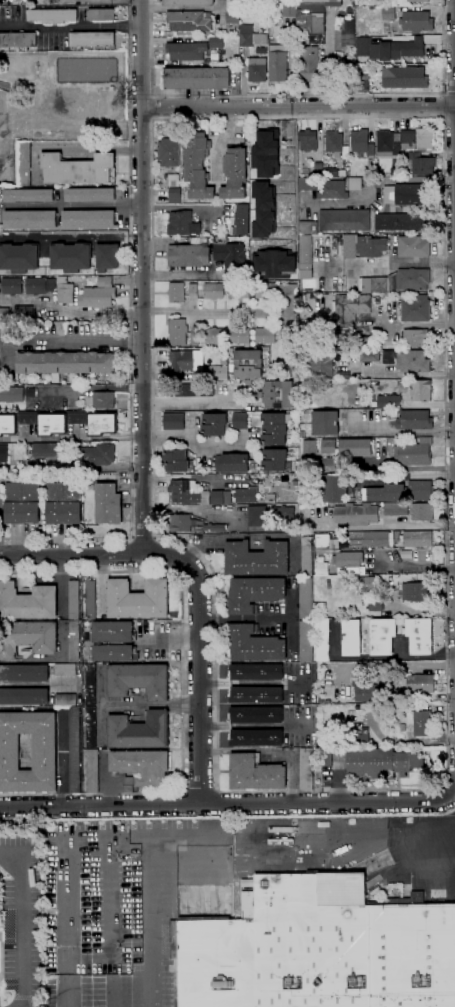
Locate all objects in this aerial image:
road: (106, 0)
building: (418, 1)
road: (454, 1)
building: (383, 2)
building: (189, 3)
road: (185, 8)
building: (285, 9)
building: (101, 14)
building: (389, 14)
building: (54, 15)
building: (233, 15)
building: (313, 18)
building: (189, 21)
building: (417, 21)
road: (70, 26)
road: (454, 29)
building: (251, 36)
building: (18, 40)
building: (94, 40)
building: (216, 42)
building: (364, 46)
building: (405, 49)
building: (187, 51)
road: (141, 54)
building: (278, 63)
building: (309, 64)
building: (258, 69)
building: (405, 77)
building: (197, 78)
building: (347, 82)
building: (362, 83)
road: (448, 94)
road: (295, 95)
road: (139, 97)
road: (442, 105)
road: (298, 106)
road: (151, 107)
road: (449, 116)
road: (139, 122)
road: (454, 122)
road: (70, 125)
building: (247, 139)
building: (408, 139)
building: (424, 139)
building: (308, 140)
building: (361, 142)
building: (387, 142)
building: (334, 143)
road: (71, 148)
building: (169, 152)
building: (266, 152)
building: (404, 158)
building: (24, 163)
building: (421, 164)
building: (198, 165)
building: (319, 166)
building: (78, 170)
building: (235, 173)
building: (343, 173)
building: (174, 180)
road: (374, 182)
building: (358, 183)
building: (307, 184)
building: (330, 190)
building: (405, 194)
building: (29, 195)
building: (91, 195)
building: (175, 195)
road: (73, 205)
building: (89, 219)
building: (243, 219)
building: (31, 220)
building: (344, 220)
building: (400, 221)
building: (183, 223)
building: (304, 227)
road: (70, 238)
building: (348, 245)
building: (370, 246)
building: (413, 246)
building: (305, 250)
building: (209, 255)
building: (18, 257)
building: (69, 257)
building: (107, 257)
building: (273, 263)
building: (402, 281)
building: (36, 285)
building: (12, 286)
building: (193, 290)
building: (213, 291)
building: (252, 291)
building: (288, 291)
building: (0, 292)
building: (176, 292)
building: (65, 294)
building: (98, 295)
building: (376, 302)
building: (351, 307)
building: (416, 309)
building: (25, 313)
road: (214, 313)
building: (4, 314)
road: (68, 316)
road: (142, 330)
building: (178, 330)
building: (306, 332)
road: (129, 333)
building: (288, 334)
building: (215, 336)
building: (252, 336)
building: (195, 337)
building: (414, 339)
road: (60, 343)
building: (369, 356)
building: (183, 360)
building: (408, 361)
building: (70, 363)
building: (321, 364)
building: (248, 365)
building: (217, 372)
road: (405, 376)
building: (191, 387)
road: (90, 388)
building: (421, 390)
building: (31, 391)
building: (12, 394)
building: (278, 394)
road: (401, 394)
building: (99, 399)
building: (388, 402)
road: (198, 404)
building: (238, 420)
building: (414, 420)
building: (172, 421)
building: (326, 422)
building: (60, 423)
building: (214, 423)
road: (70, 436)
building: (275, 441)
road: (194, 443)
building: (310, 447)
building: (328, 447)
building: (355, 447)
building: (44, 448)
building: (100, 451)
building: (413, 452)
building: (4, 453)
building: (291, 453)
building: (176, 459)
building: (233, 462)
building: (309, 464)
building: (290, 465)
road: (77, 470)
building: (335, 486)
building: (420, 486)
building: (310, 492)
building: (385, 493)
building: (195, 494)
building: (246, 495)
building: (261, 501)
building: (22, 502)
building: (110, 502)
building: (64, 503)
building: (395, 509)
building: (422, 512)
building: (285, 513)
building: (357, 514)
building: (259, 515)
building: (182, 521)
building: (215, 527)
road: (388, 527)
road: (143, 537)
building: (372, 538)
building: (417, 538)
building: (323, 543)
road: (129, 554)
road: (153, 554)
road: (71, 555)
building: (307, 556)
building: (258, 558)
building: (342, 562)
building: (417, 591)
building: (255, 593)
building: (139, 598)
building: (91, 599)
building: (28, 601)
building: (307, 619)
building: (114, 631)
building: (72, 633)
building: (92, 636)
building: (352, 636)
building: (383, 636)
building: (420, 636)
building: (28, 637)
building: (323, 639)
building: (255, 645)
building: (115, 652)
road: (198, 657)
building: (301, 668)
building: (257, 671)
building: (25, 672)
building: (140, 679)
building: (418, 683)
road: (181, 686)
building: (363, 690)
building: (258, 694)
building: (25, 696)
building: (301, 698)
building: (384, 708)
building: (398, 710)
building: (258, 714)
building: (412, 714)
building: (395, 720)
building: (422, 720)
building: (403, 727)
building: (140, 730)
building: (91, 731)
building: (257, 737)
building: (73, 739)
building: (300, 740)
building: (45, 751)
building: (326, 757)
building: (382, 762)
building: (142, 766)
building: (307, 768)
road: (446, 771)
building: (256, 772)
road: (199, 788)
road: (228, 802)
road: (20, 823)
building: (281, 829)
road: (324, 850)
road: (65, 861)
parking lot: (130, 906)
parking lot: (18, 919)
road: (28, 921)
road: (113, 927)
road: (152, 927)
building: (318, 949)

